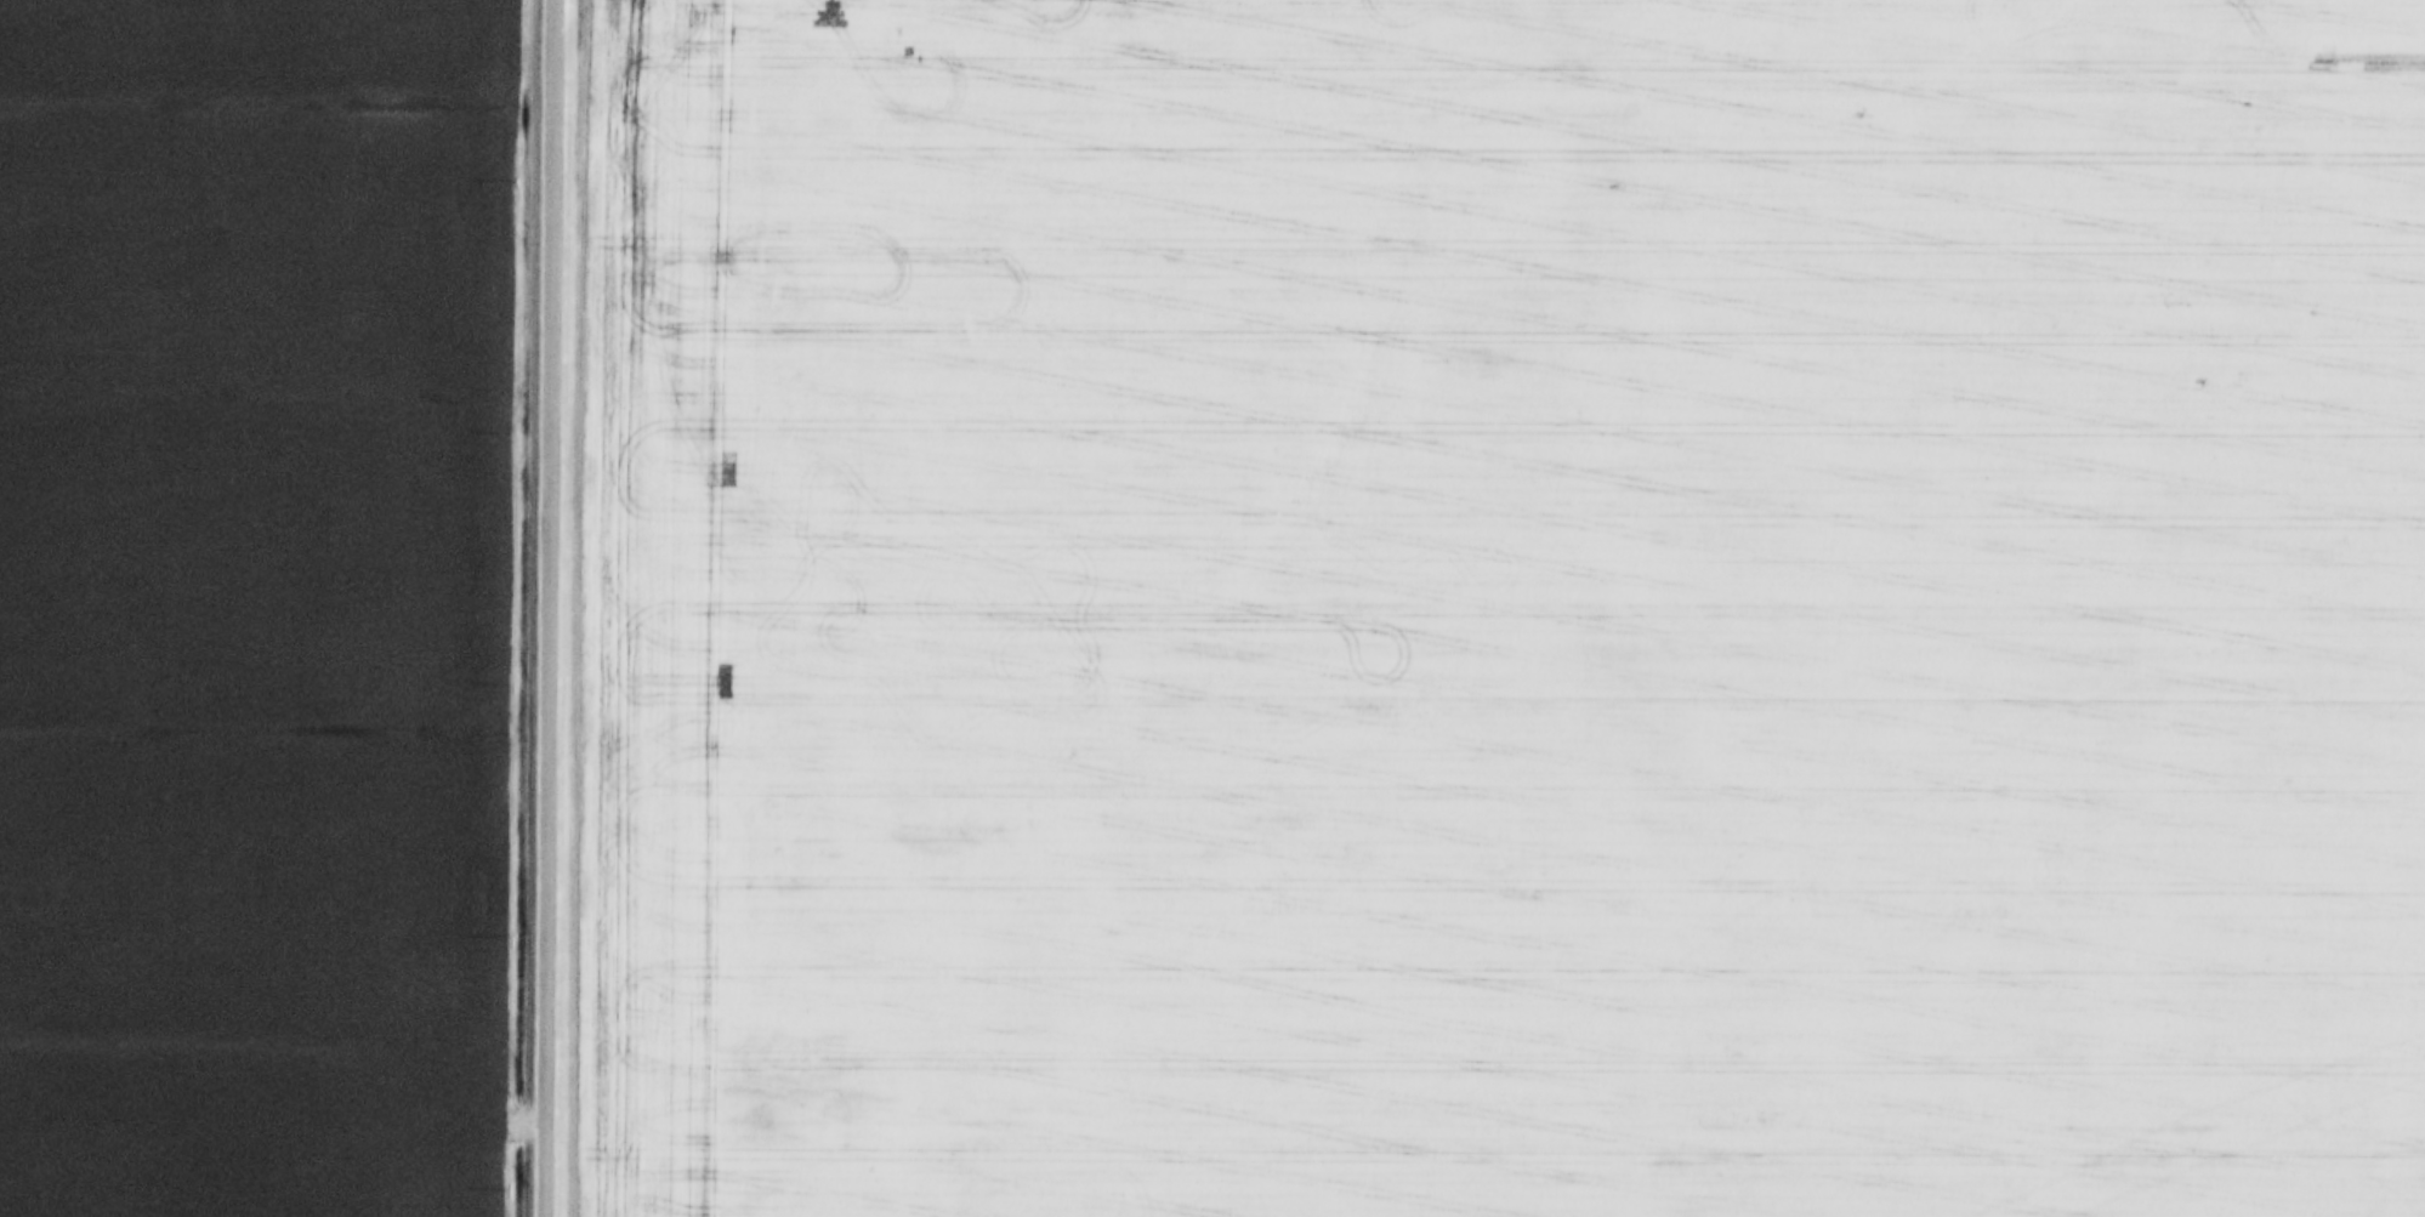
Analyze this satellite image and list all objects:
road: (553, 608)

